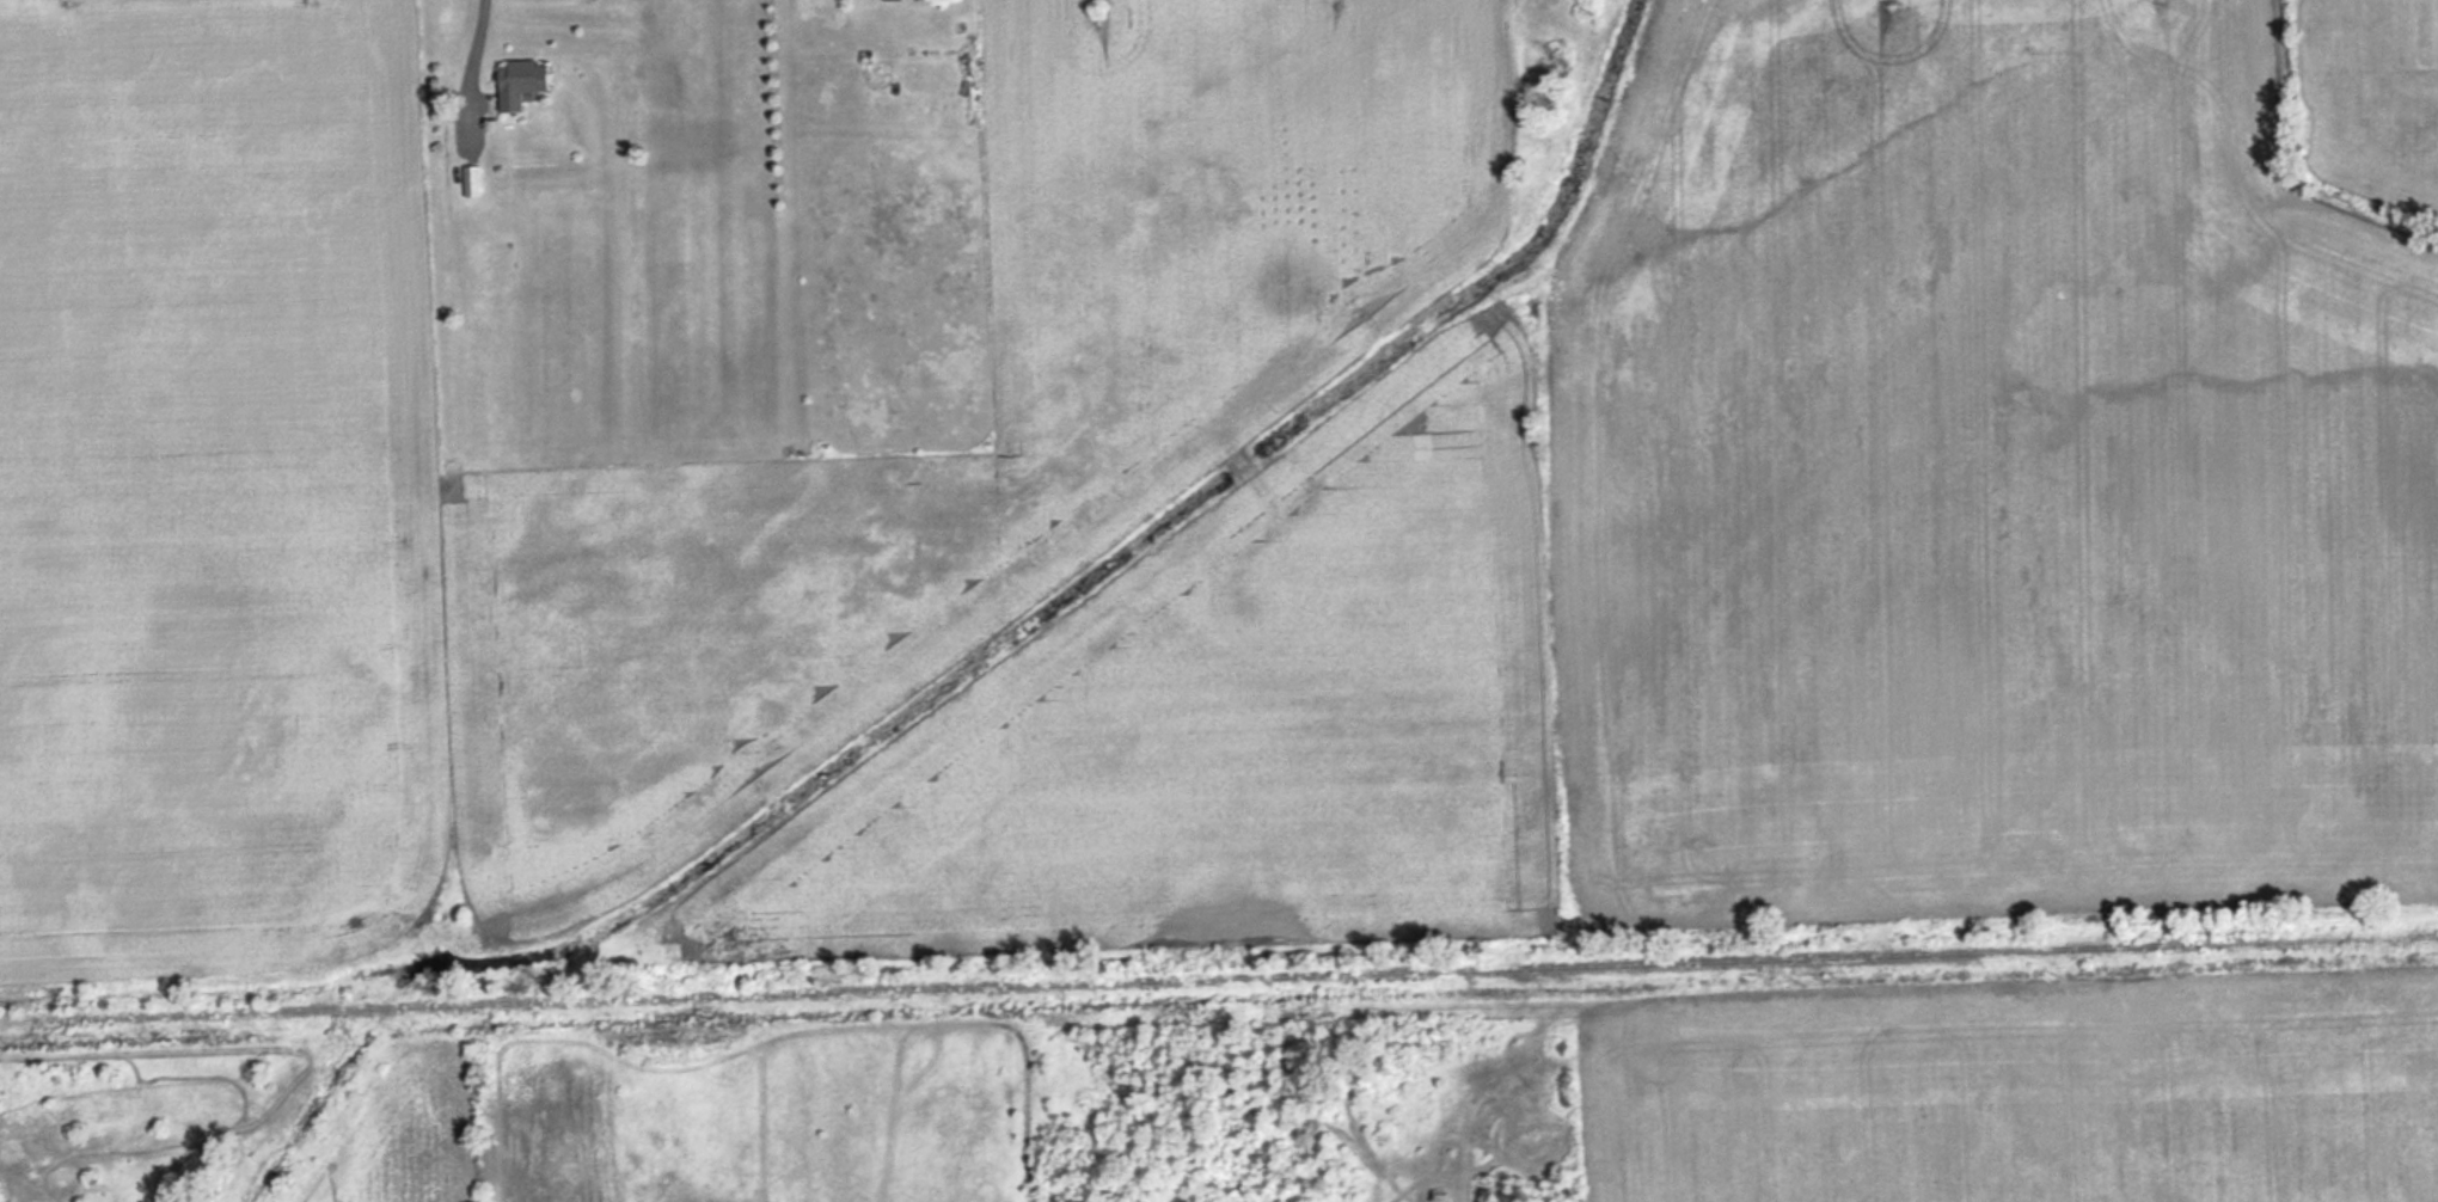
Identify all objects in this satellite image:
building: (523, 82)
railway: (1218, 979)

